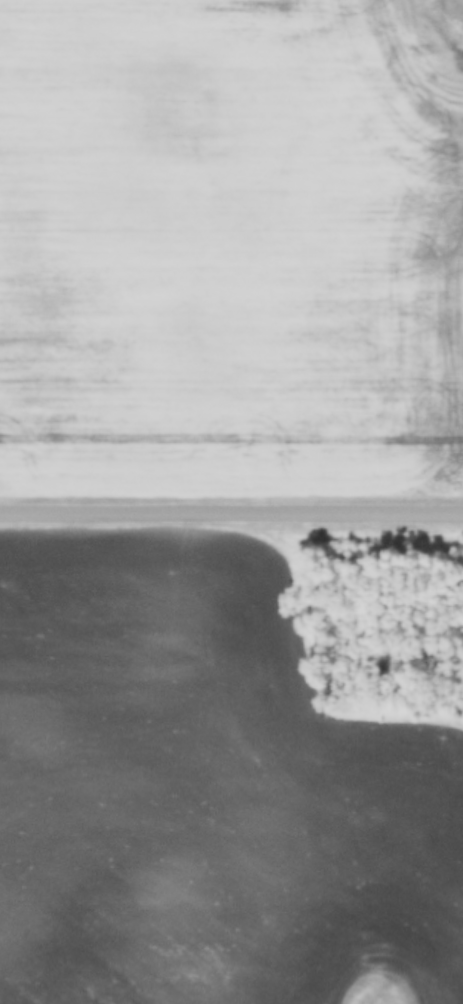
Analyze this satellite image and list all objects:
road: (231, 516)

